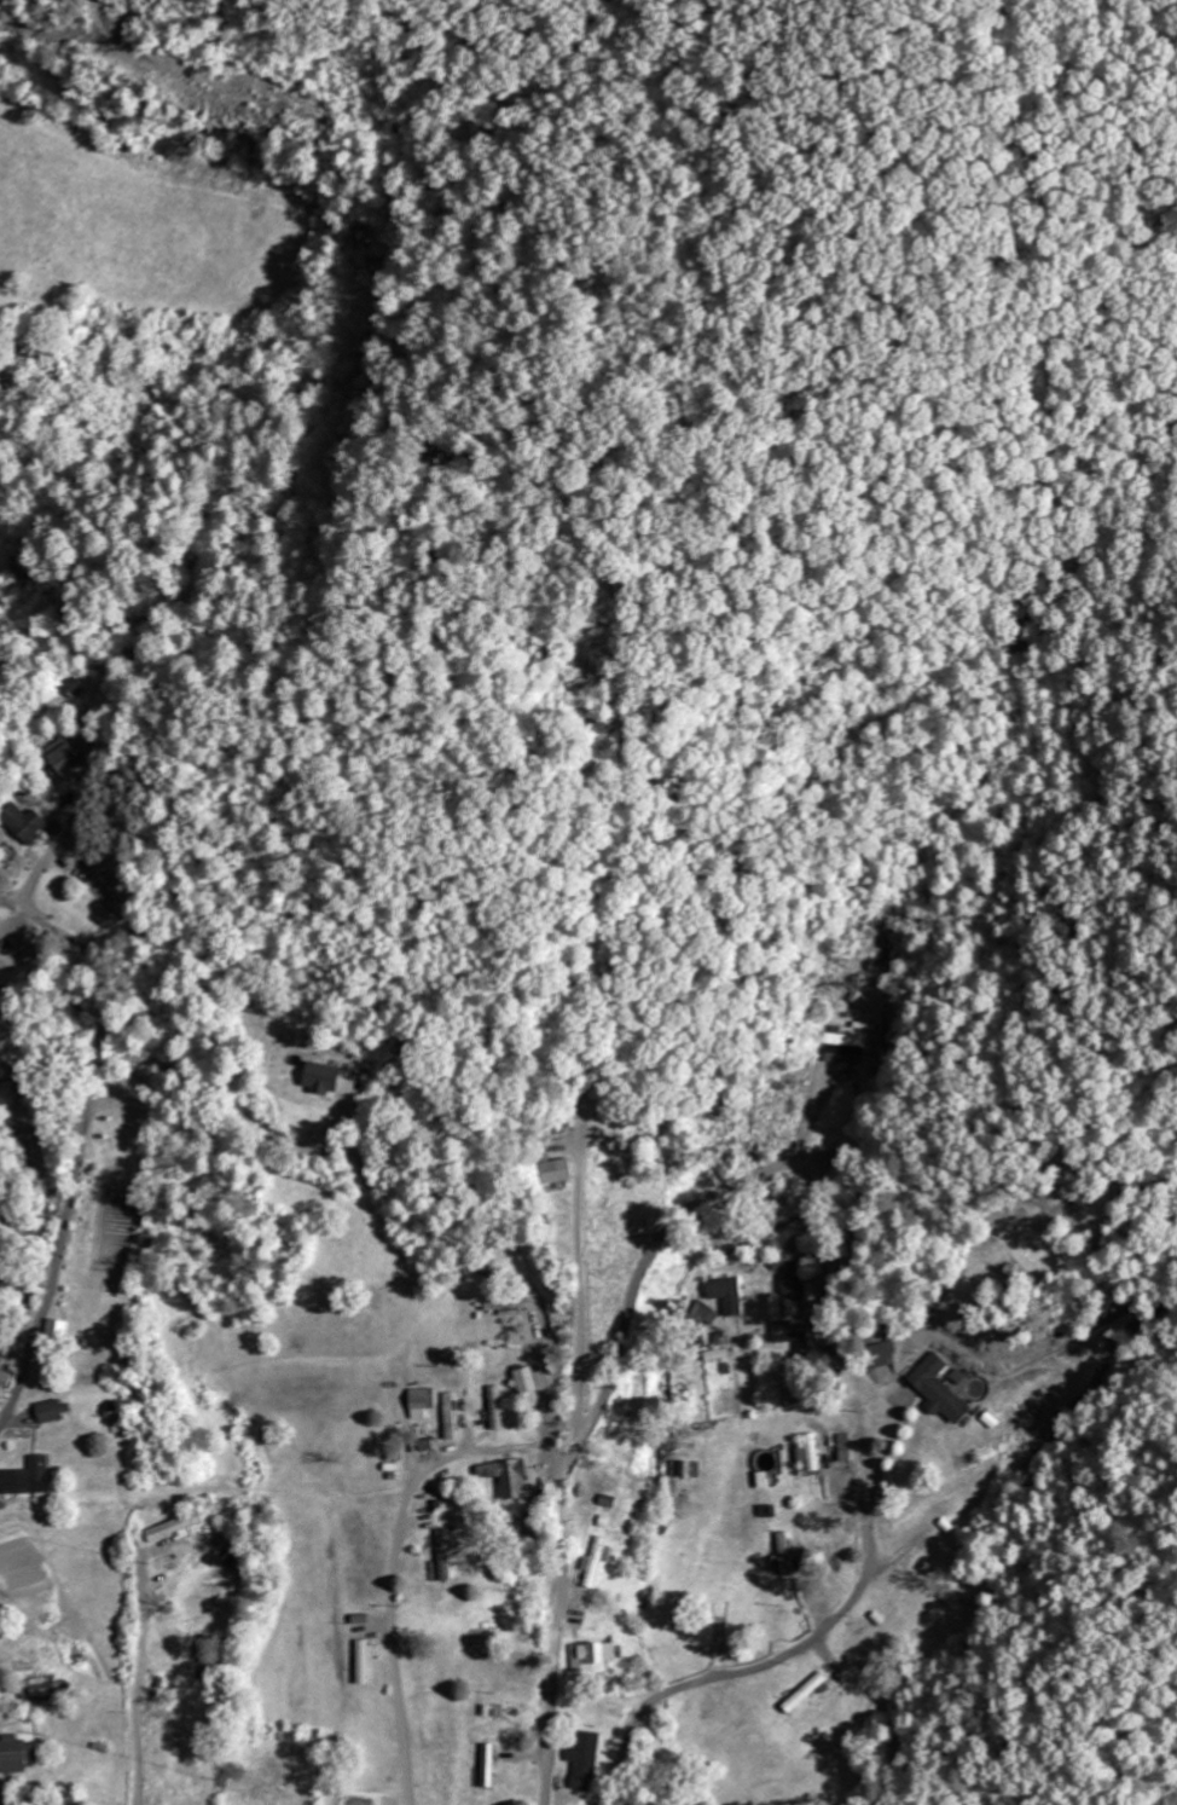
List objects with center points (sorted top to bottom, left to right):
building: (66, 762)
building: (27, 822)
building: (842, 1048)
building: (320, 1077)
road: (83, 1149)
building: (557, 1170)
building: (792, 1286)
building: (724, 1294)
building: (506, 1304)
building: (705, 1313)
building: (56, 1330)
building: (789, 1331)
building: (883, 1353)
building: (833, 1359)
building: (4, 1383)
building: (938, 1389)
building: (421, 1402)
building: (494, 1407)
building: (51, 1411)
road: (598, 1411)
building: (450, 1417)
building: (810, 1452)
building: (684, 1469)
building: (505, 1476)
building: (25, 1477)
building: (607, 1502)
building: (174, 1527)
building: (446, 1552)
building: (783, 1554)
building: (596, 1562)
building: (591, 1654)
building: (363, 1661)
road: (744, 1672)
building: (40, 1690)
building: (804, 1693)
building: (15, 1754)
building: (582, 1761)
building: (488, 1766)
building: (356, 1801)

